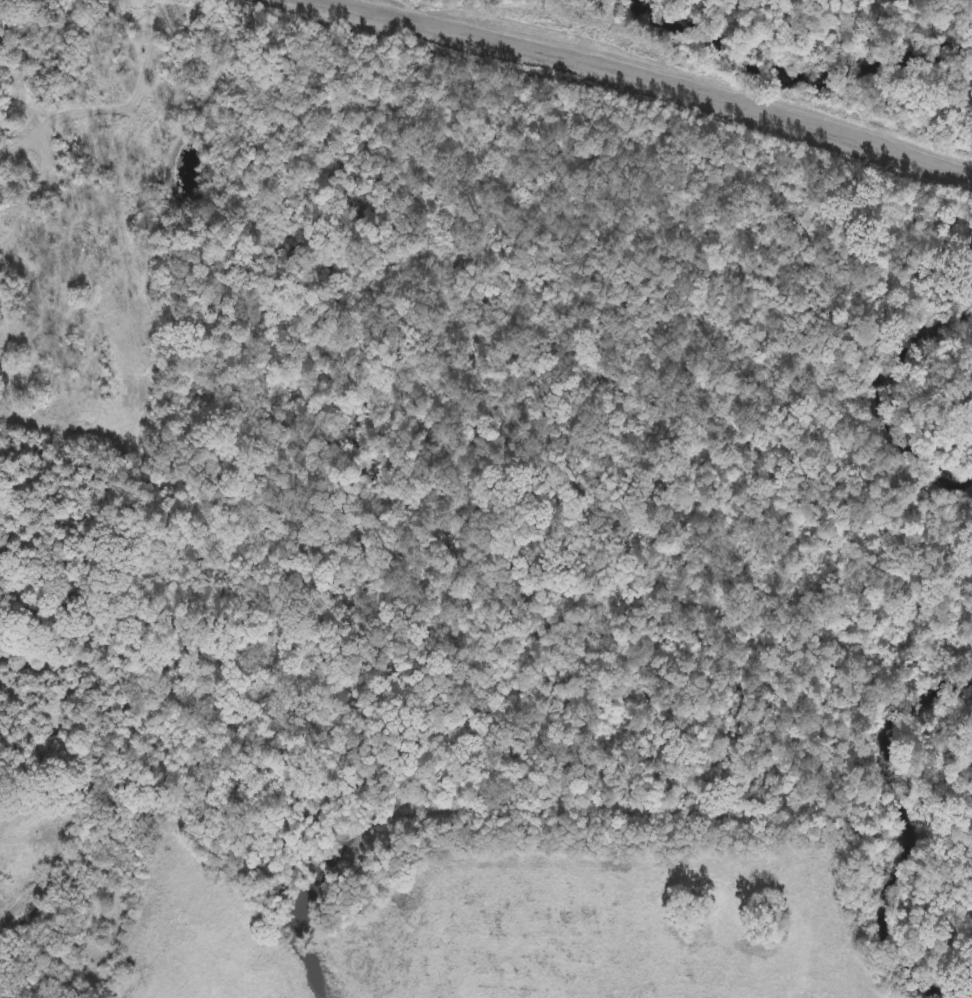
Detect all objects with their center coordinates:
road: (643, 77)

